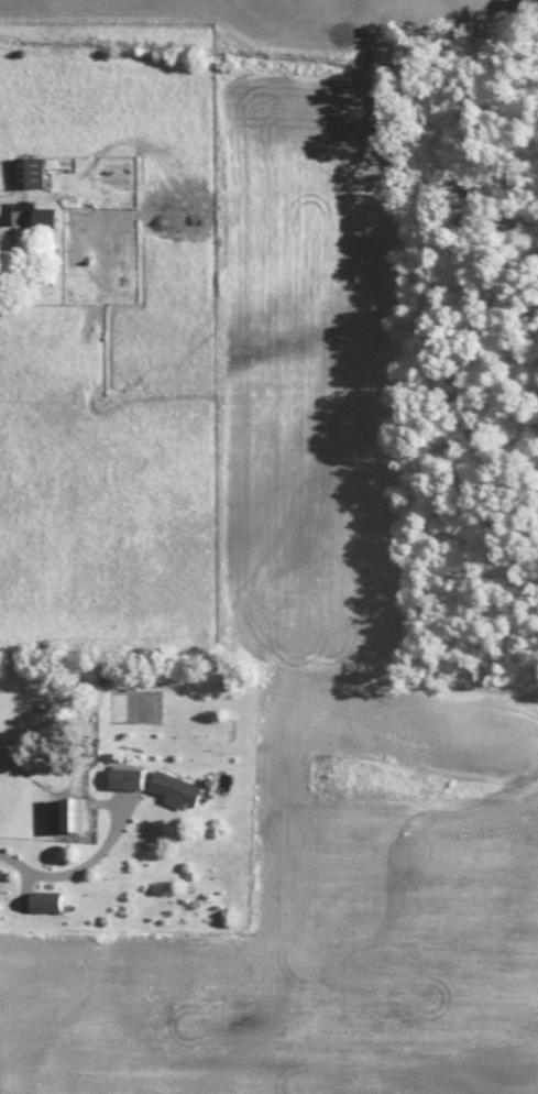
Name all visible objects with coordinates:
building: (29, 171)
building: (41, 215)
building: (123, 776)
building: (174, 788)
building: (70, 813)
road: (81, 866)
building: (44, 900)

